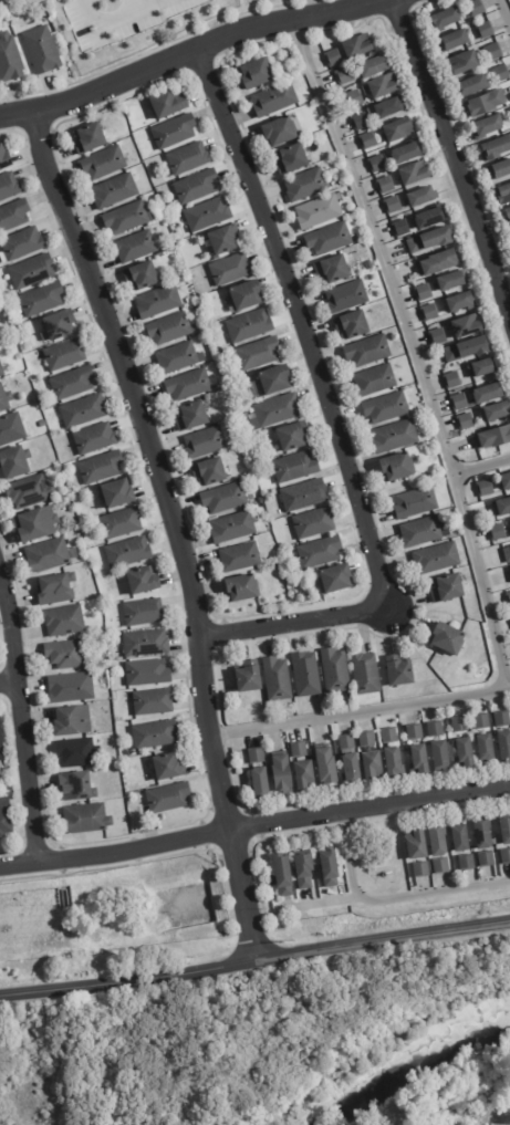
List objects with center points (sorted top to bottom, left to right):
road: (136, 7)
road: (152, 7)
building: (477, 8)
road: (504, 12)
building: (445, 19)
building: (487, 29)
road: (98, 31)
building: (455, 39)
building: (358, 44)
road: (187, 49)
building: (42, 51)
building: (496, 51)
building: (335, 58)
building: (10, 60)
building: (466, 61)
building: (376, 65)
building: (502, 72)
building: (257, 73)
building: (346, 74)
building: (386, 84)
building: (473, 84)
building: (275, 98)
building: (355, 98)
building: (483, 103)
building: (167, 104)
building: (389, 105)
building: (362, 121)
building: (488, 127)
building: (399, 128)
building: (281, 131)
building: (174, 132)
building: (91, 138)
building: (370, 139)
building: (495, 148)
building: (407, 152)
building: (4, 158)
building: (188, 158)
building: (293, 158)
road: (456, 160)
building: (105, 163)
building: (378, 163)
building: (500, 170)
building: (415, 171)
building: (382, 183)
building: (308, 185)
building: (9, 186)
building: (196, 187)
building: (116, 190)
building: (501, 192)
building: (417, 196)
building: (389, 204)
building: (320, 211)
building: (209, 215)
building: (13, 216)
building: (506, 216)
building: (425, 217)
building: (128, 218)
building: (397, 226)
building: (223, 239)
building: (331, 239)
building: (424, 240)
building: (22, 244)
building: (137, 247)
building: (433, 262)
building: (334, 269)
building: (231, 270)
building: (32, 272)
building: (143, 275)
building: (454, 280)
building: (420, 291)
building: (246, 296)
building: (348, 296)
building: (42, 300)
building: (159, 301)
building: (462, 303)
building: (198, 308)
building: (427, 311)
building: (354, 324)
building: (469, 324)
building: (60, 325)
building: (251, 326)
building: (170, 329)
building: (435, 334)
building: (0, 341)
building: (465, 347)
road: (409, 351)
building: (370, 352)
building: (258, 354)
building: (65, 355)
building: (223, 356)
building: (179, 357)
building: (480, 366)
building: (2, 371)
building: (449, 378)
building: (376, 381)
building: (273, 382)
building: (74, 385)
building: (190, 385)
building: (483, 392)
building: (6, 398)
building: (456, 400)
building: (388, 408)
building: (84, 410)
building: (278, 410)
building: (493, 410)
building: (194, 416)
road: (332, 417)
building: (461, 420)
building: (12, 429)
building: (491, 436)
building: (396, 437)
building: (293, 438)
building: (95, 439)
building: (207, 442)
building: (15, 462)
road: (481, 463)
building: (296, 467)
building: (103, 468)
building: (397, 468)
building: (211, 472)
building: (507, 482)
building: (487, 488)
building: (25, 490)
building: (118, 493)
building: (305, 496)
building: (226, 499)
building: (417, 503)
building: (502, 509)
building: (509, 519)
building: (315, 523)
building: (38, 524)
building: (123, 524)
road: (175, 527)
building: (235, 528)
building: (421, 532)
building: (498, 533)
building: (273, 541)
building: (129, 553)
building: (320, 553)
building: (508, 554)
building: (49, 555)
building: (241, 558)
building: (438, 559)
building: (508, 570)
building: (337, 580)
building: (143, 581)
building: (449, 588)
building: (58, 590)
building: (242, 590)
building: (507, 597)
building: (145, 613)
building: (509, 618)
building: (65, 621)
building: (449, 638)
building: (146, 644)
building: (66, 655)
building: (336, 671)
building: (400, 671)
building: (149, 674)
building: (308, 675)
building: (367, 675)
building: (248, 677)
building: (278, 679)
road: (11, 685)
building: (71, 688)
building: (155, 702)
road: (360, 713)
road: (24, 718)
building: (503, 720)
building: (74, 721)
building: (483, 722)
building: (461, 726)
building: (437, 730)
building: (150, 733)
building: (416, 733)
building: (392, 737)
building: (368, 740)
building: (1, 743)
building: (348, 743)
building: (504, 747)
building: (300, 750)
building: (487, 750)
building: (79, 753)
building: (464, 754)
building: (258, 757)
building: (441, 757)
building: (419, 761)
building: (395, 762)
building: (164, 765)
building: (374, 767)
building: (327, 768)
building: (353, 769)
building: (282, 773)
building: (305, 777)
building: (260, 784)
building: (79, 788)
building: (166, 796)
building: (6, 819)
building: (87, 820)
road: (254, 825)
building: (506, 830)
building: (478, 832)
building: (461, 840)
building: (438, 842)
building: (416, 844)
building: (482, 857)
building: (506, 857)
building: (462, 861)
building: (443, 866)
building: (331, 869)
building: (421, 869)
building: (306, 872)
building: (284, 876)
road: (391, 897)
road: (319, 904)
road: (254, 960)

